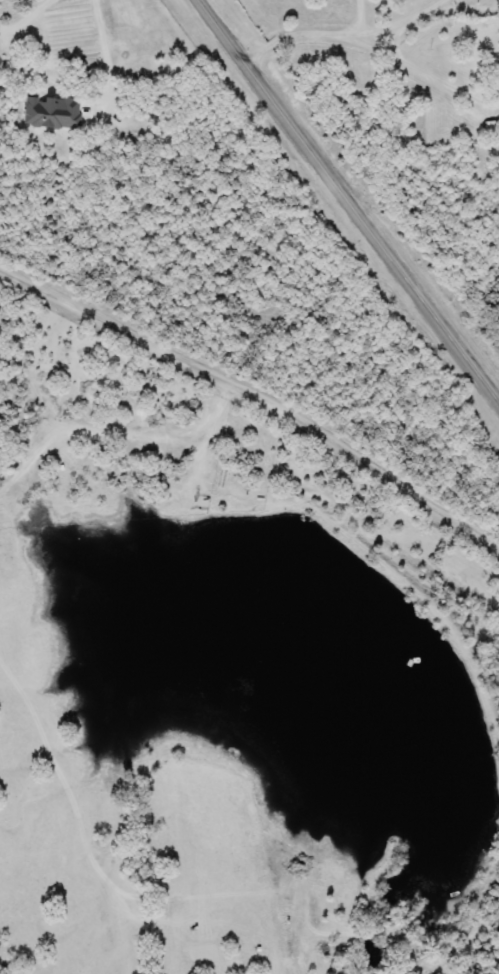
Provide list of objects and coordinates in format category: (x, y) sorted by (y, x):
road: (436, 5)
road: (463, 9)
road: (334, 34)
building: (498, 35)
road: (103, 36)
road: (396, 44)
road: (425, 74)
road: (346, 203)
road: (257, 391)

